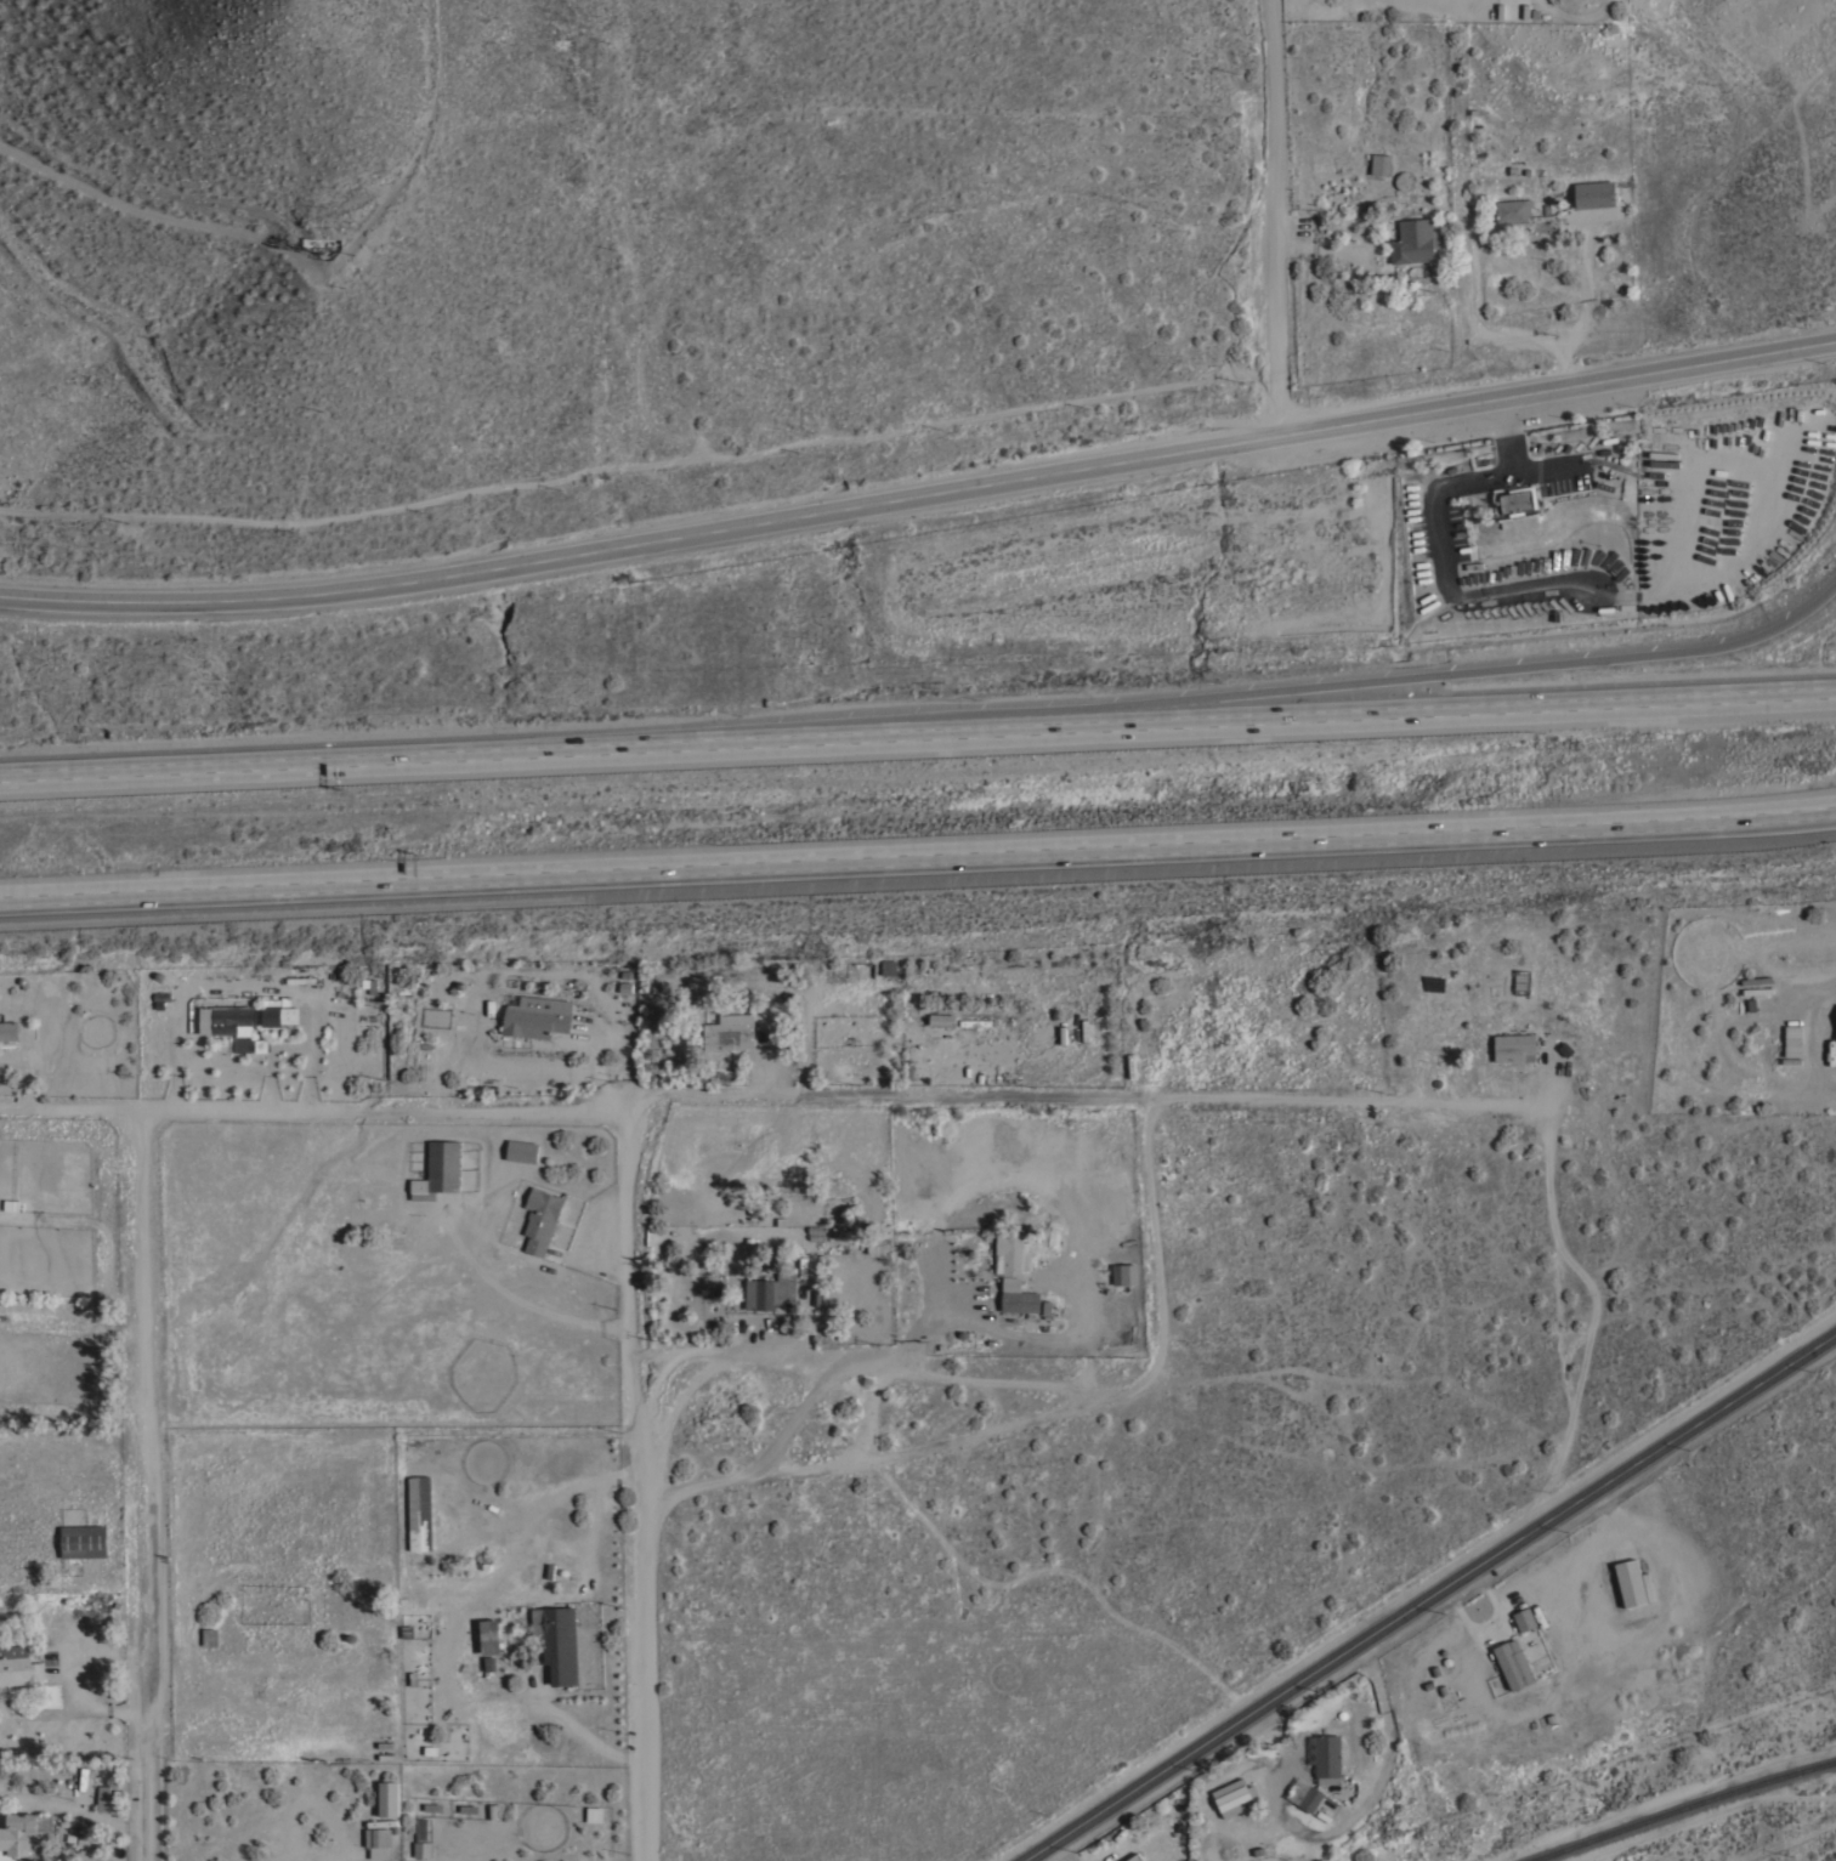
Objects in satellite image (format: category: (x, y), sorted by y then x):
building: (1509, 8)
building: (1381, 163)
building: (1404, 178)
building: (1594, 193)
building: (1513, 209)
road: (1274, 211)
building: (1413, 239)
building: (1664, 453)
building: (1664, 463)
road: (919, 487)
building: (1519, 499)
road: (1412, 680)
road: (1406, 715)
road: (488, 756)
road: (918, 856)
building: (889, 966)
building: (862, 969)
building: (300, 978)
building: (697, 980)
building: (1523, 981)
building: (1757, 989)
building: (271, 1011)
building: (226, 1019)
building: (942, 1019)
building: (534, 1020)
building: (974, 1021)
building: (1834, 1021)
building: (730, 1031)
building: (7, 1033)
building: (1793, 1039)
building: (1514, 1046)
road: (1302, 1095)
road: (311, 1107)
building: (522, 1150)
building: (438, 1169)
building: (13, 1204)
building: (540, 1218)
building: (1013, 1249)
building: (1126, 1273)
building: (775, 1290)
building: (1018, 1295)
road: (744, 1349)
road: (816, 1389)
road: (637, 1483)
road: (143, 1485)
building: (419, 1511)
building: (84, 1539)
building: (1632, 1582)
road: (1430, 1598)
building: (1524, 1617)
building: (491, 1634)
building: (209, 1635)
building: (557, 1640)
building: (1513, 1662)
building: (18, 1664)
building: (1327, 1757)
building: (1235, 1795)
building: (103, 1797)
building: (389, 1797)
building: (1310, 1797)
railway: (1687, 1808)
road: (1349, 1809)
building: (25, 1832)
building: (87, 1834)
building: (378, 1836)
building: (379, 1851)
building: (1134, 1857)

